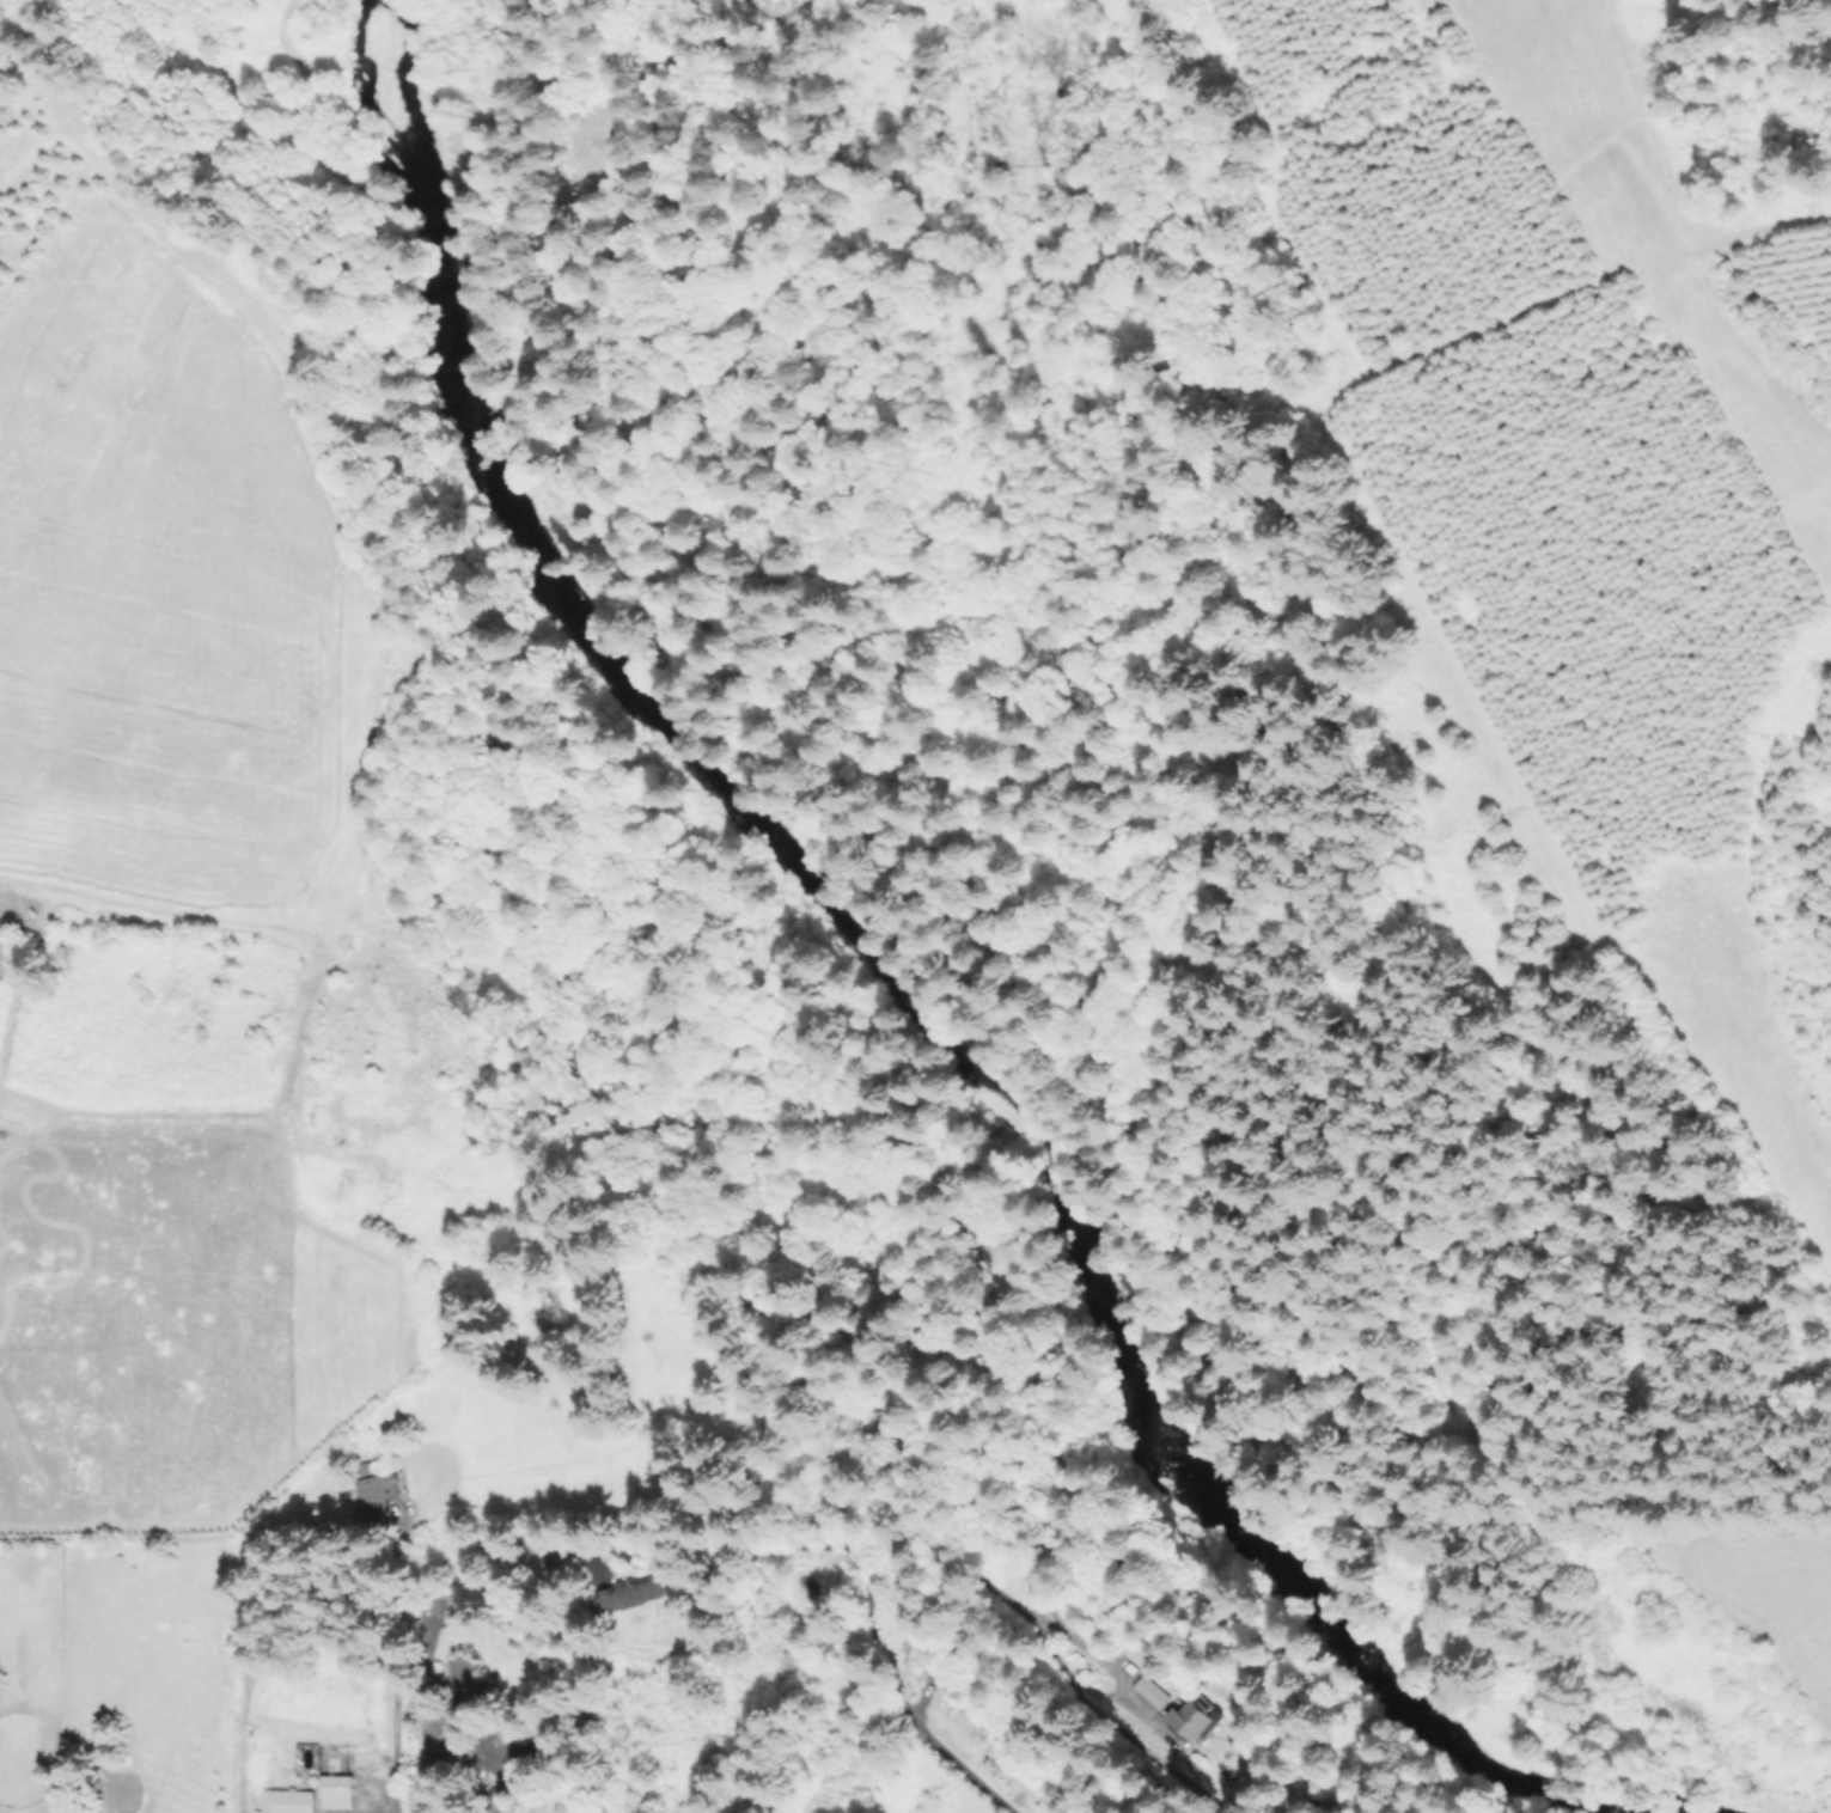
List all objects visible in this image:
building: (377, 1490)
road: (928, 1548)
road: (721, 1555)
building: (631, 1593)
building: (926, 1650)
building: (466, 1684)
road: (396, 1702)
building: (1196, 1719)
building: (501, 1745)
road: (426, 1777)
building: (338, 1789)
building: (289, 1801)

